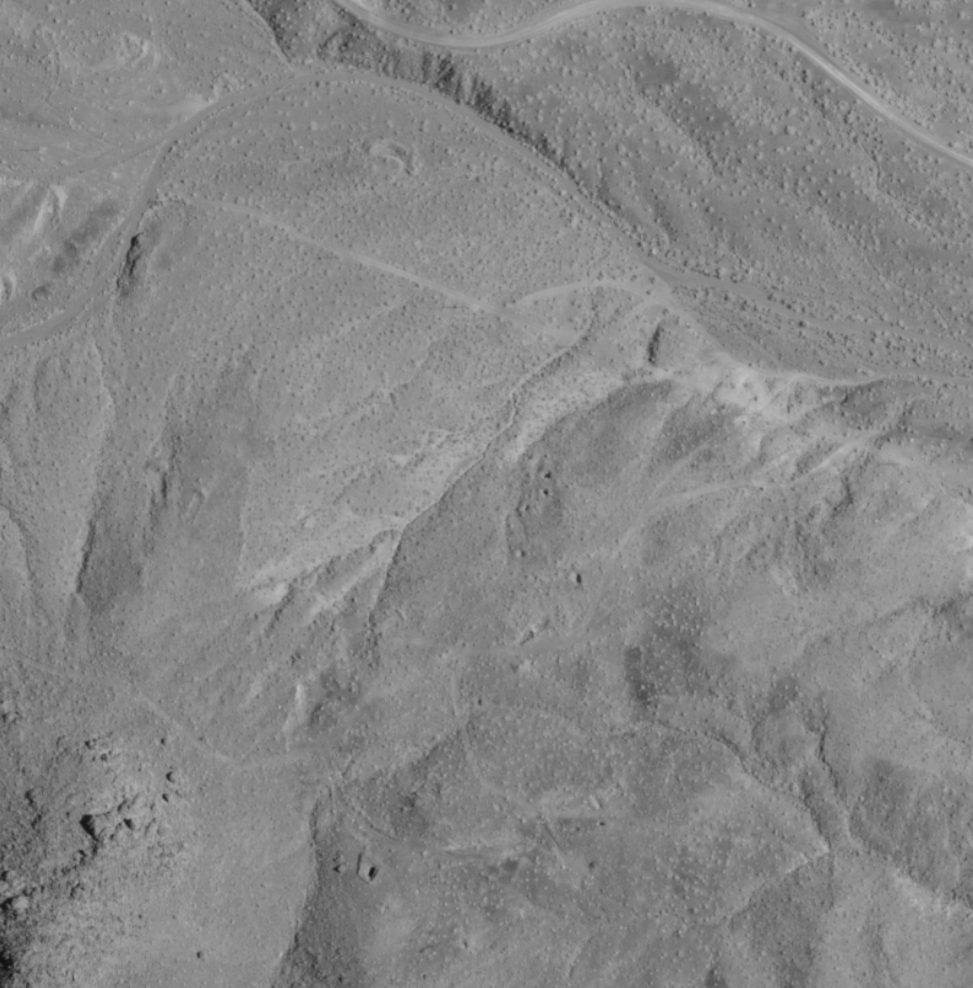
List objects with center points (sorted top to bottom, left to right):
road: (468, 39)
road: (847, 75)

